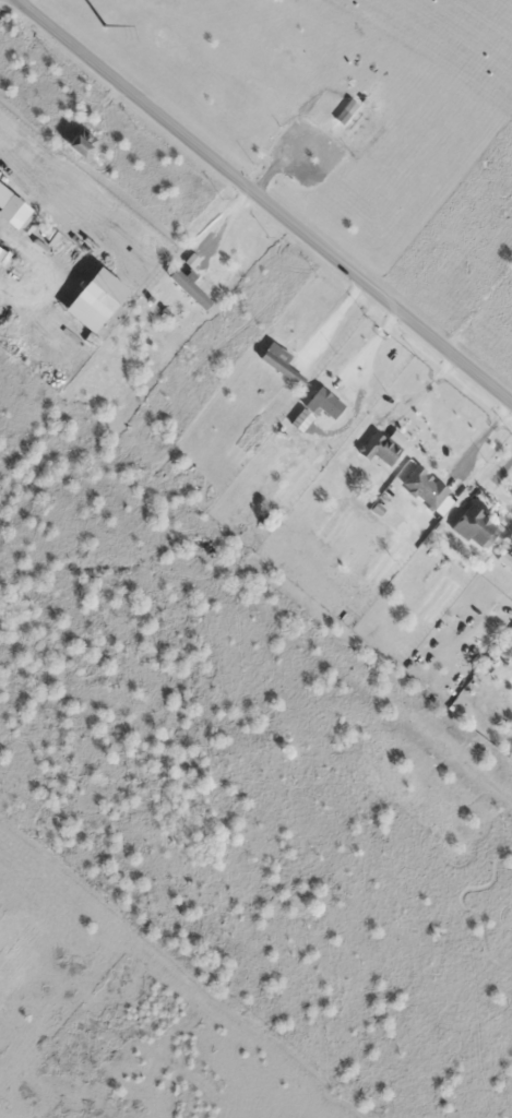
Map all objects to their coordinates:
power tower: (104, 21)
building: (75, 146)
road: (263, 201)
building: (188, 289)
building: (278, 362)
building: (324, 403)
building: (377, 449)
building: (424, 487)
building: (473, 525)
building: (504, 561)

